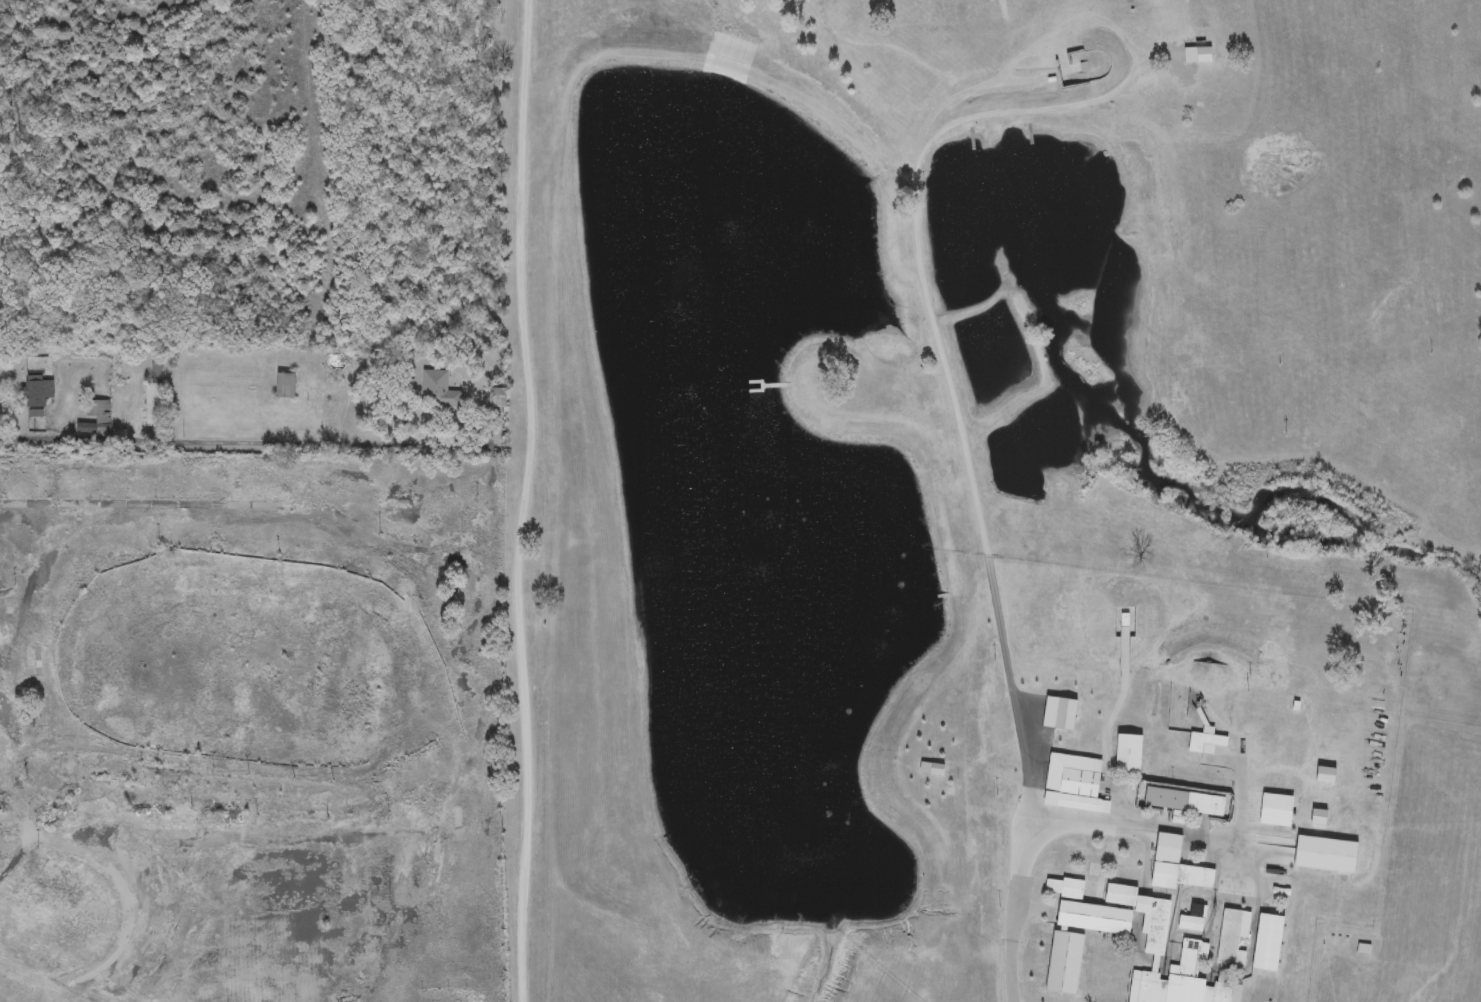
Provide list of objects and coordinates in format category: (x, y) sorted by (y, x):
road: (1124, 42)
building: (285, 386)
building: (439, 392)
building: (36, 394)
building: (498, 398)
building: (153, 404)
building: (95, 417)
road: (245, 443)
road: (535, 501)
road: (988, 572)
building: (32, 661)
building: (1208, 744)
building: (1130, 754)
building: (69, 768)
building: (1075, 784)
building: (1185, 801)
building: (0, 805)
building: (140, 809)
building: (1277, 811)
building: (55, 814)
building: (223, 815)
road: (1176, 829)
building: (8, 831)
building: (1181, 877)
building: (1064, 888)
building: (1095, 919)
building: (1191, 924)
building: (1232, 941)
building: (1269, 944)
building: (1198, 947)

